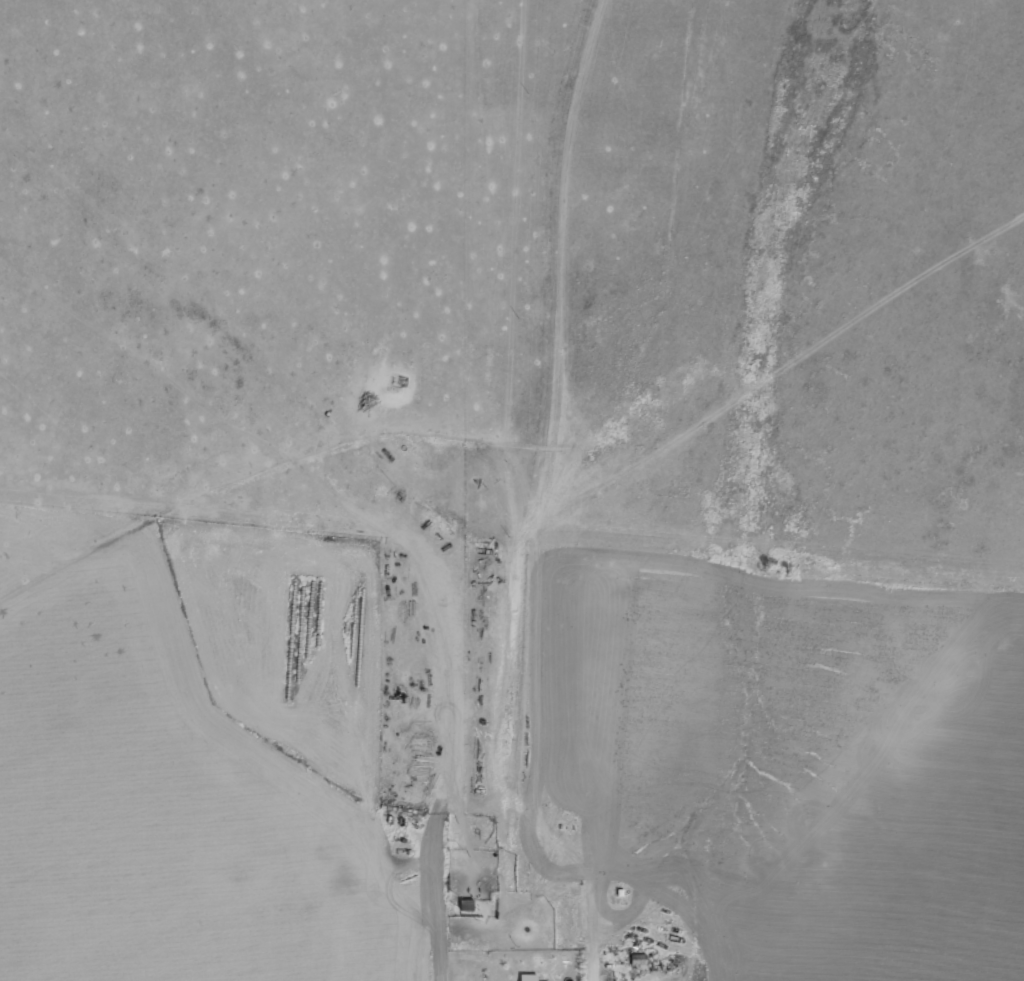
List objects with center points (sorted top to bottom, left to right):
building: (529, 977)

